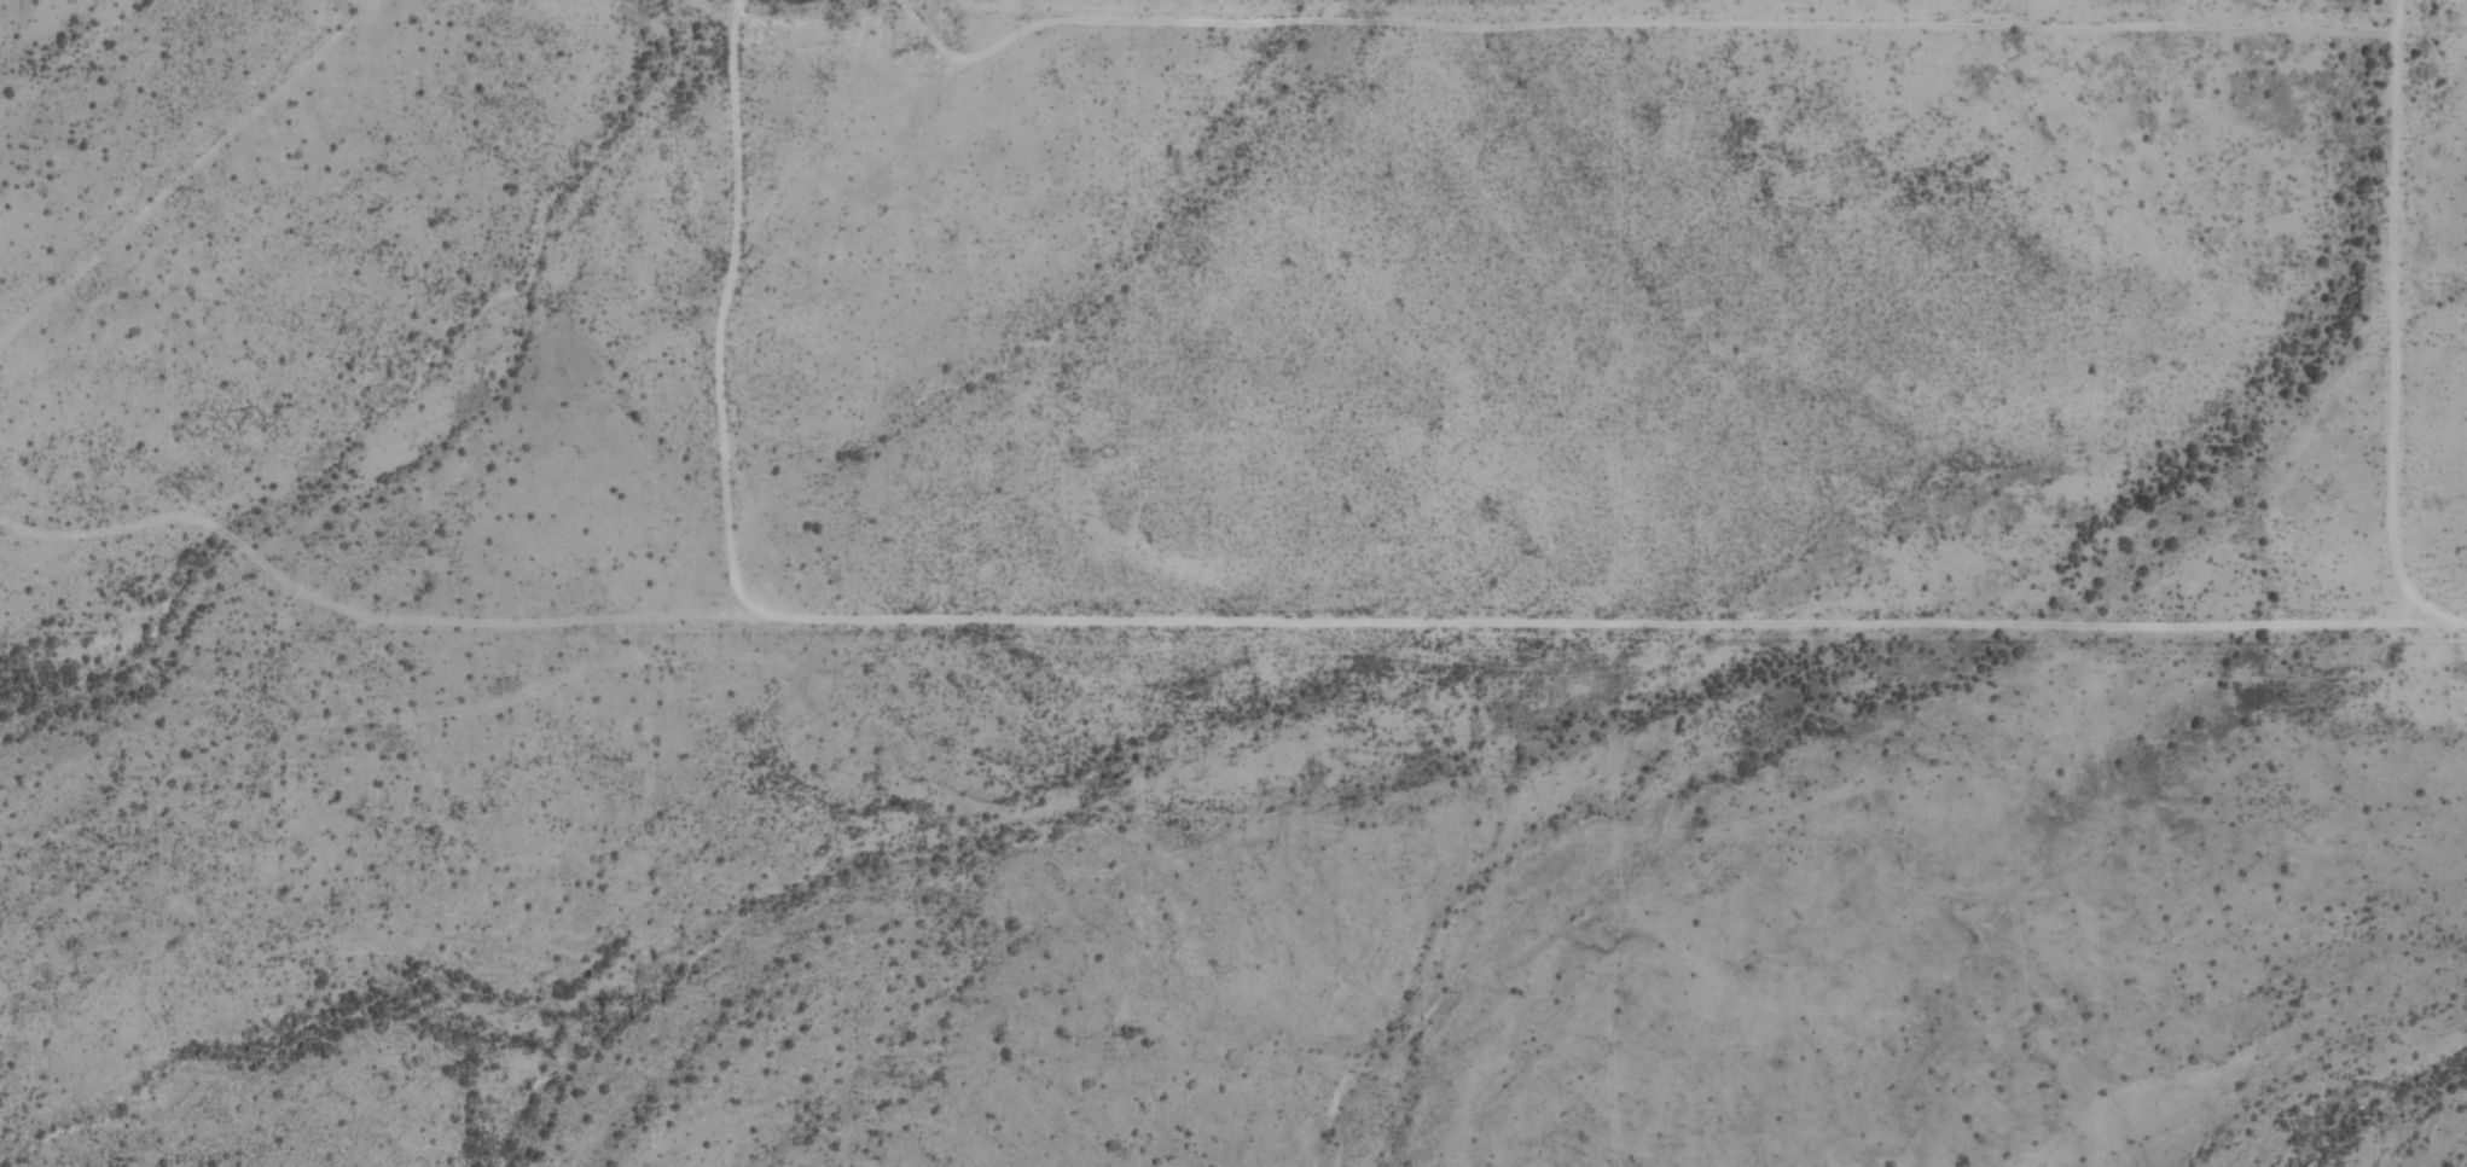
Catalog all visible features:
road: (2396, 333)
road: (1281, 619)

